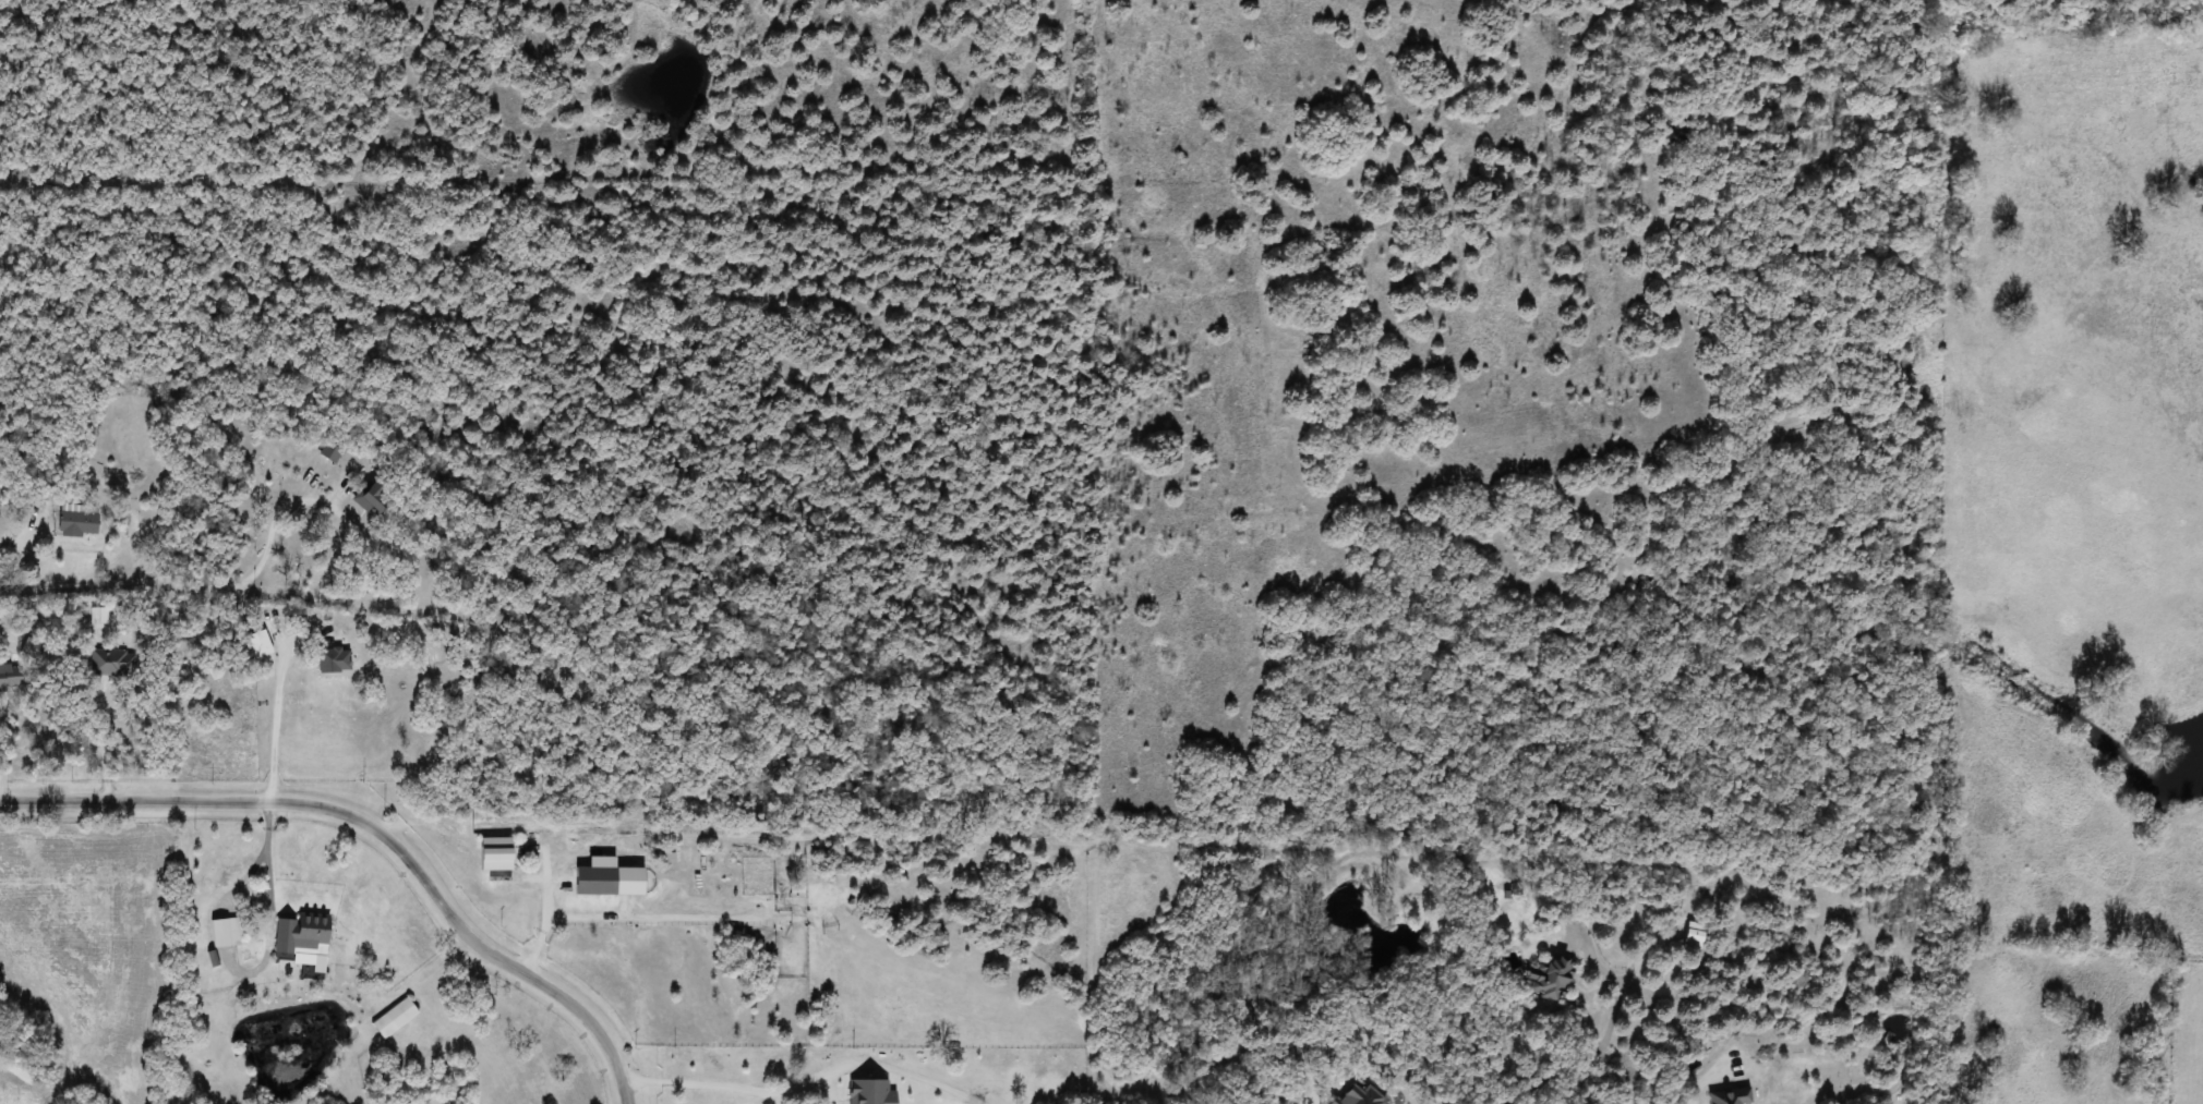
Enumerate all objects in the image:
road: (152, 248)
building: (378, 497)
building: (81, 524)
road: (203, 581)
building: (36, 647)
building: (116, 663)
building: (11, 678)
road: (266, 730)
road: (141, 804)
building: (502, 854)
road: (260, 874)
road: (538, 912)
building: (229, 932)
building: (1689, 936)
building: (309, 937)
road: (466, 937)
building: (1546, 979)
building: (397, 1018)
road: (708, 1077)
road: (1690, 1100)

